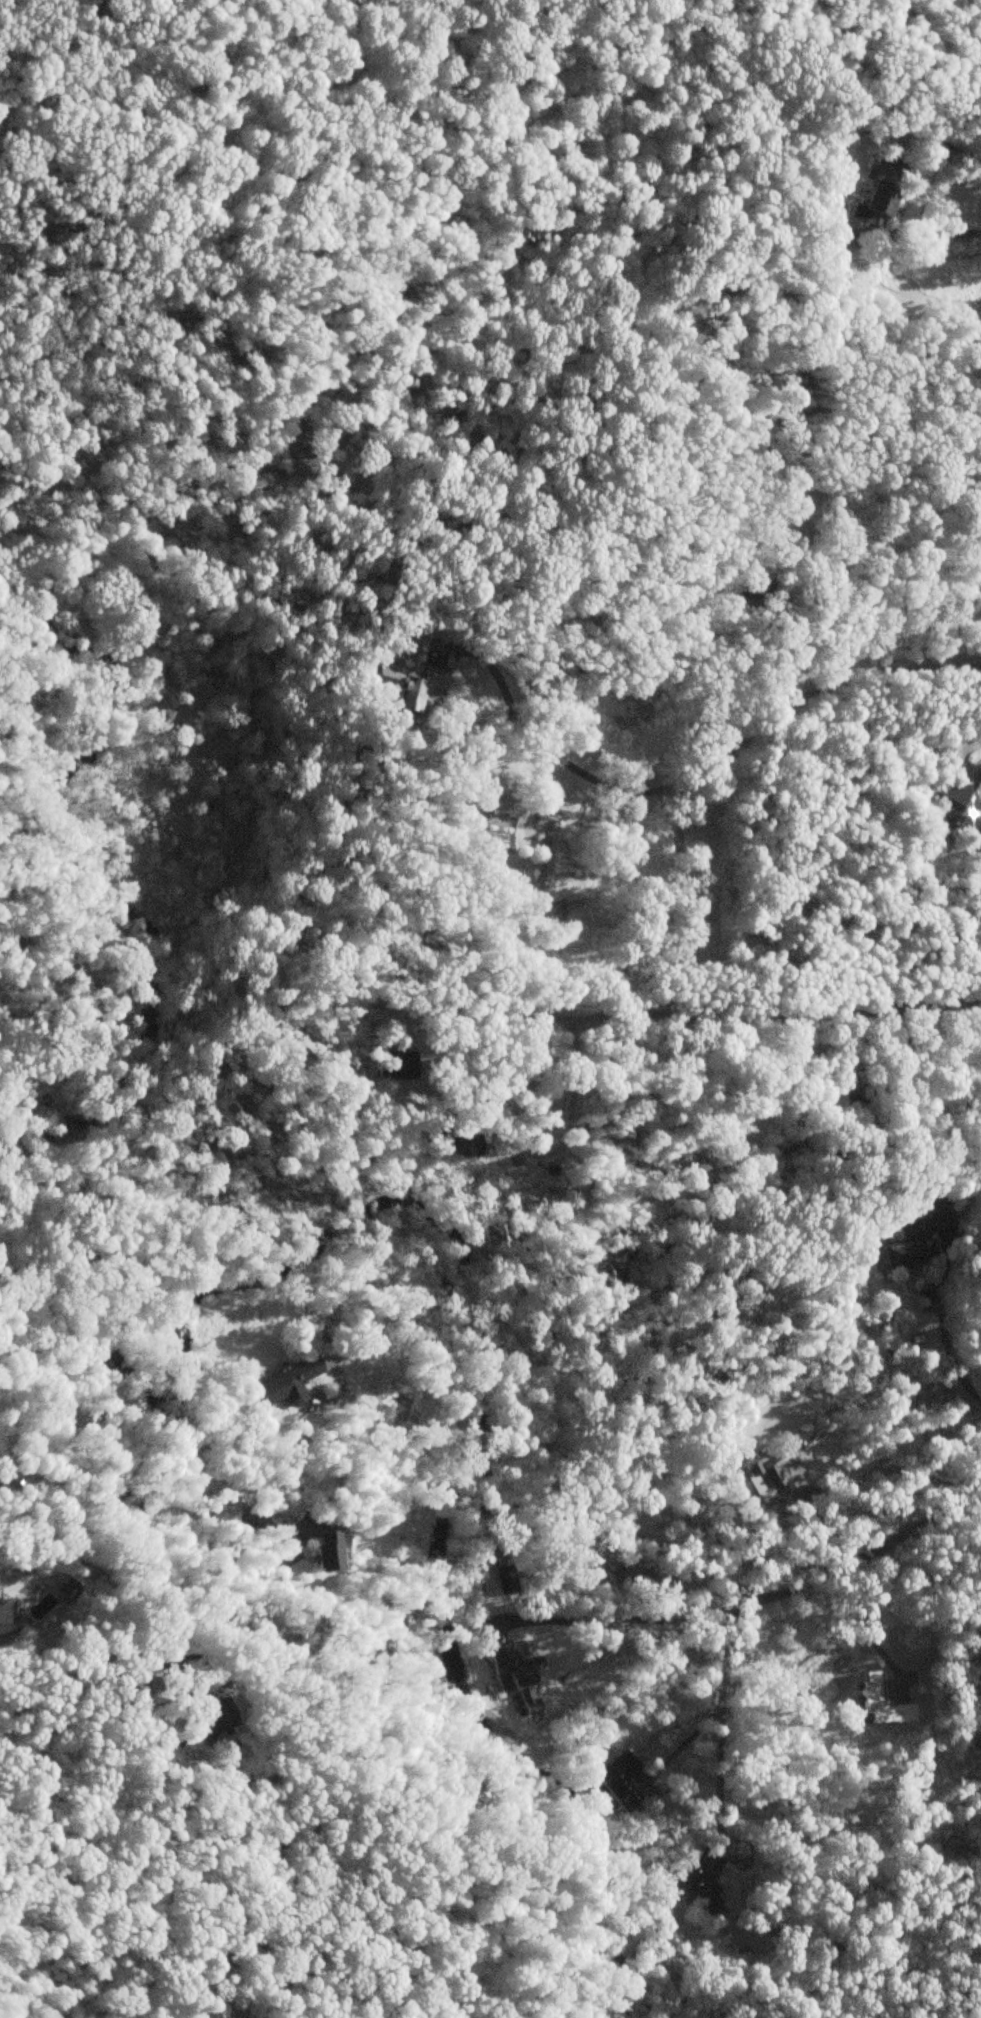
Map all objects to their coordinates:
road: (916, 197)
building: (868, 205)
building: (411, 682)
road: (977, 755)
road: (712, 762)
building: (959, 810)
road: (853, 983)
road: (572, 1030)
building: (918, 1238)
road: (941, 1330)
building: (281, 1386)
building: (772, 1479)
road: (453, 1507)
building: (220, 1514)
building: (317, 1541)
road: (872, 1552)
building: (504, 1580)
building: (6, 1618)
road: (624, 1620)
road: (867, 1621)
building: (514, 1668)
road: (98, 1675)
road: (721, 1709)
building: (212, 1716)
building: (620, 1783)
building: (702, 1885)

